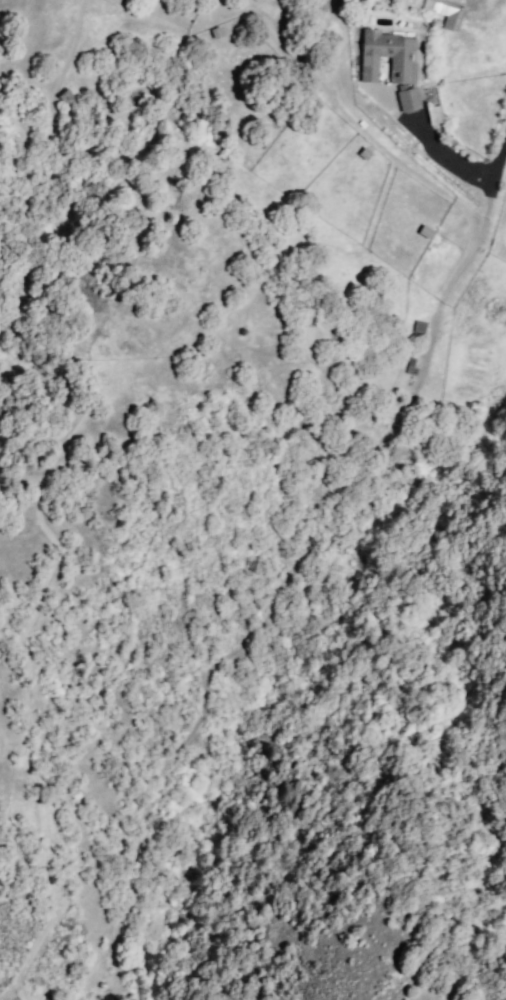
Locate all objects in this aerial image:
building: (390, 54)
road: (450, 164)
building: (417, 327)
road: (291, 577)

